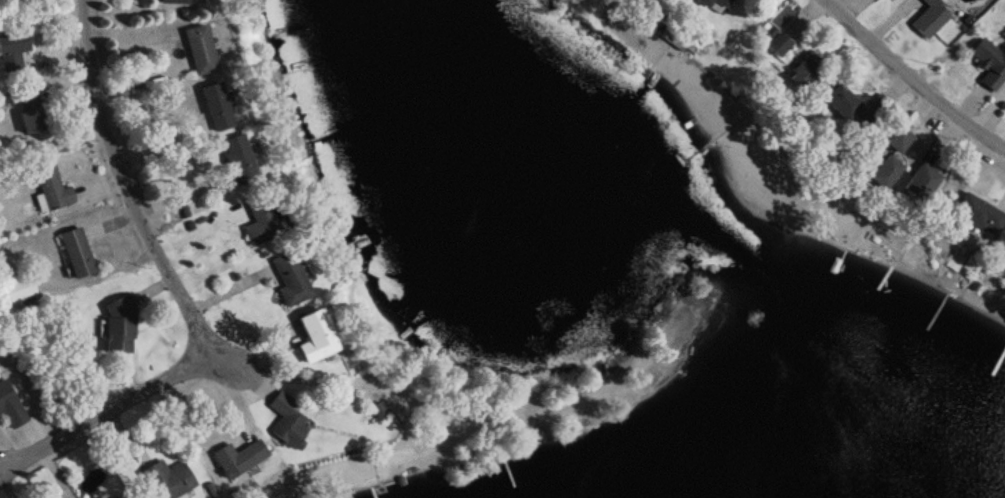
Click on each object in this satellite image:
building: (173, 1)
building: (714, 4)
building: (927, 19)
building: (776, 44)
building: (11, 48)
building: (197, 49)
building: (987, 64)
building: (805, 72)
road: (910, 80)
building: (213, 107)
building: (857, 109)
building: (29, 112)
building: (896, 139)
building: (236, 160)
building: (886, 173)
building: (921, 185)
building: (51, 188)
building: (977, 215)
building: (258, 223)
building: (75, 252)
building: (287, 280)
building: (18, 288)
road: (177, 288)
building: (117, 326)
building: (312, 338)
building: (9, 407)
building: (285, 420)
building: (237, 459)
building: (169, 479)
building: (113, 497)

